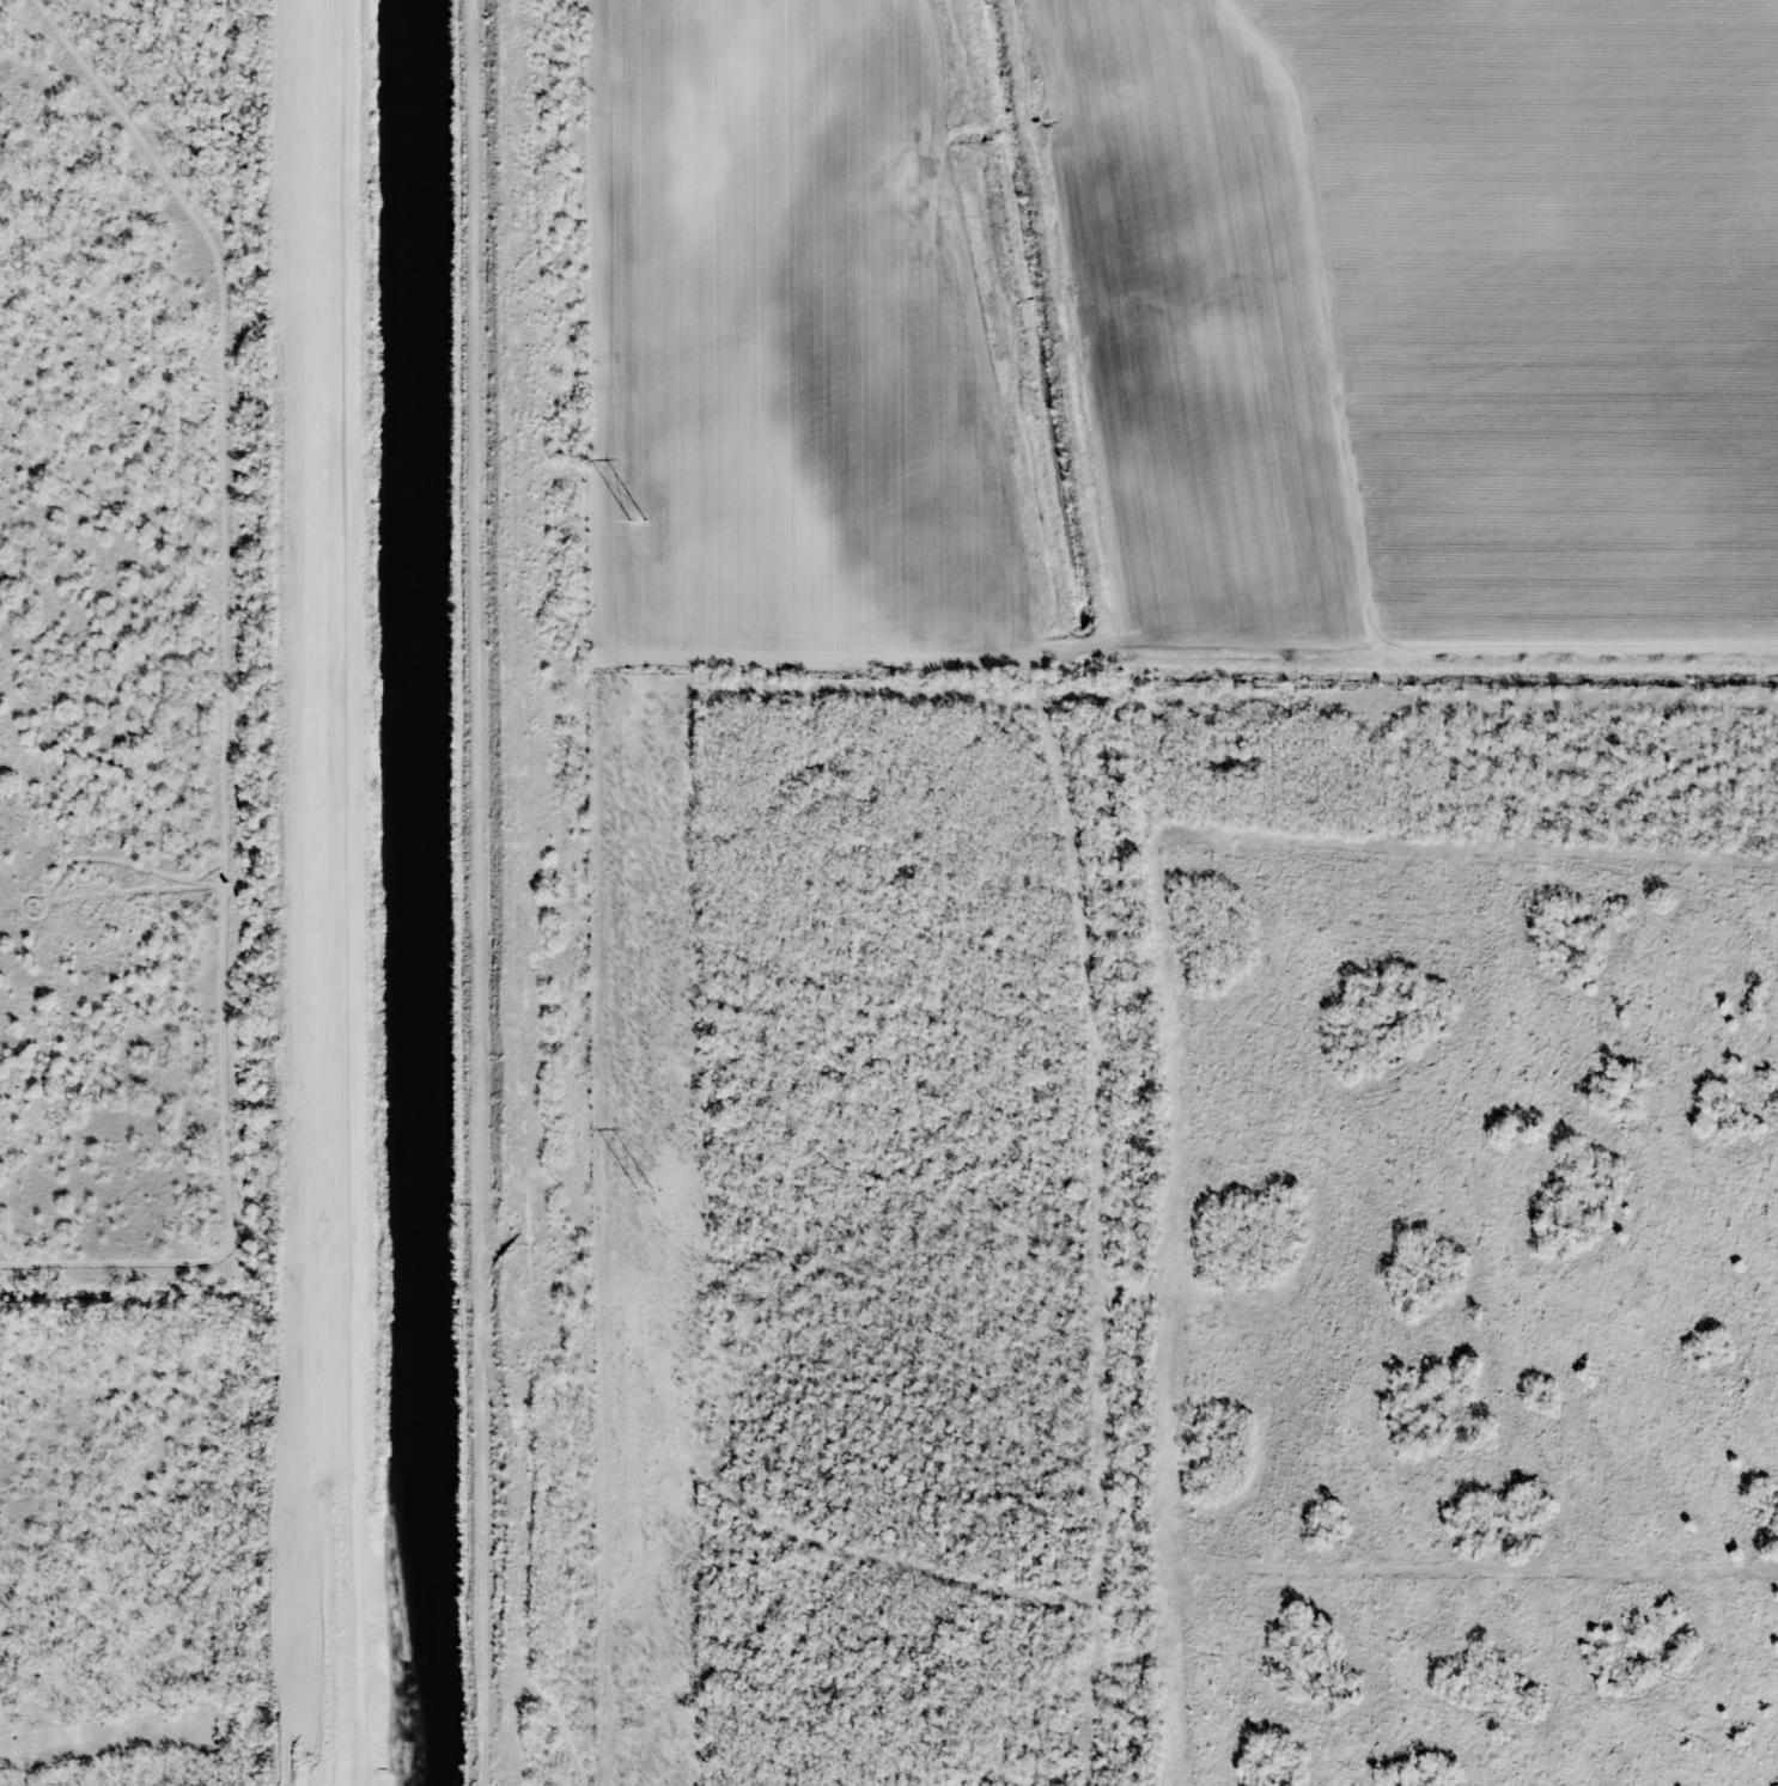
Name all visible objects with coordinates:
power tower: (635, 522)
power tower: (645, 1189)

